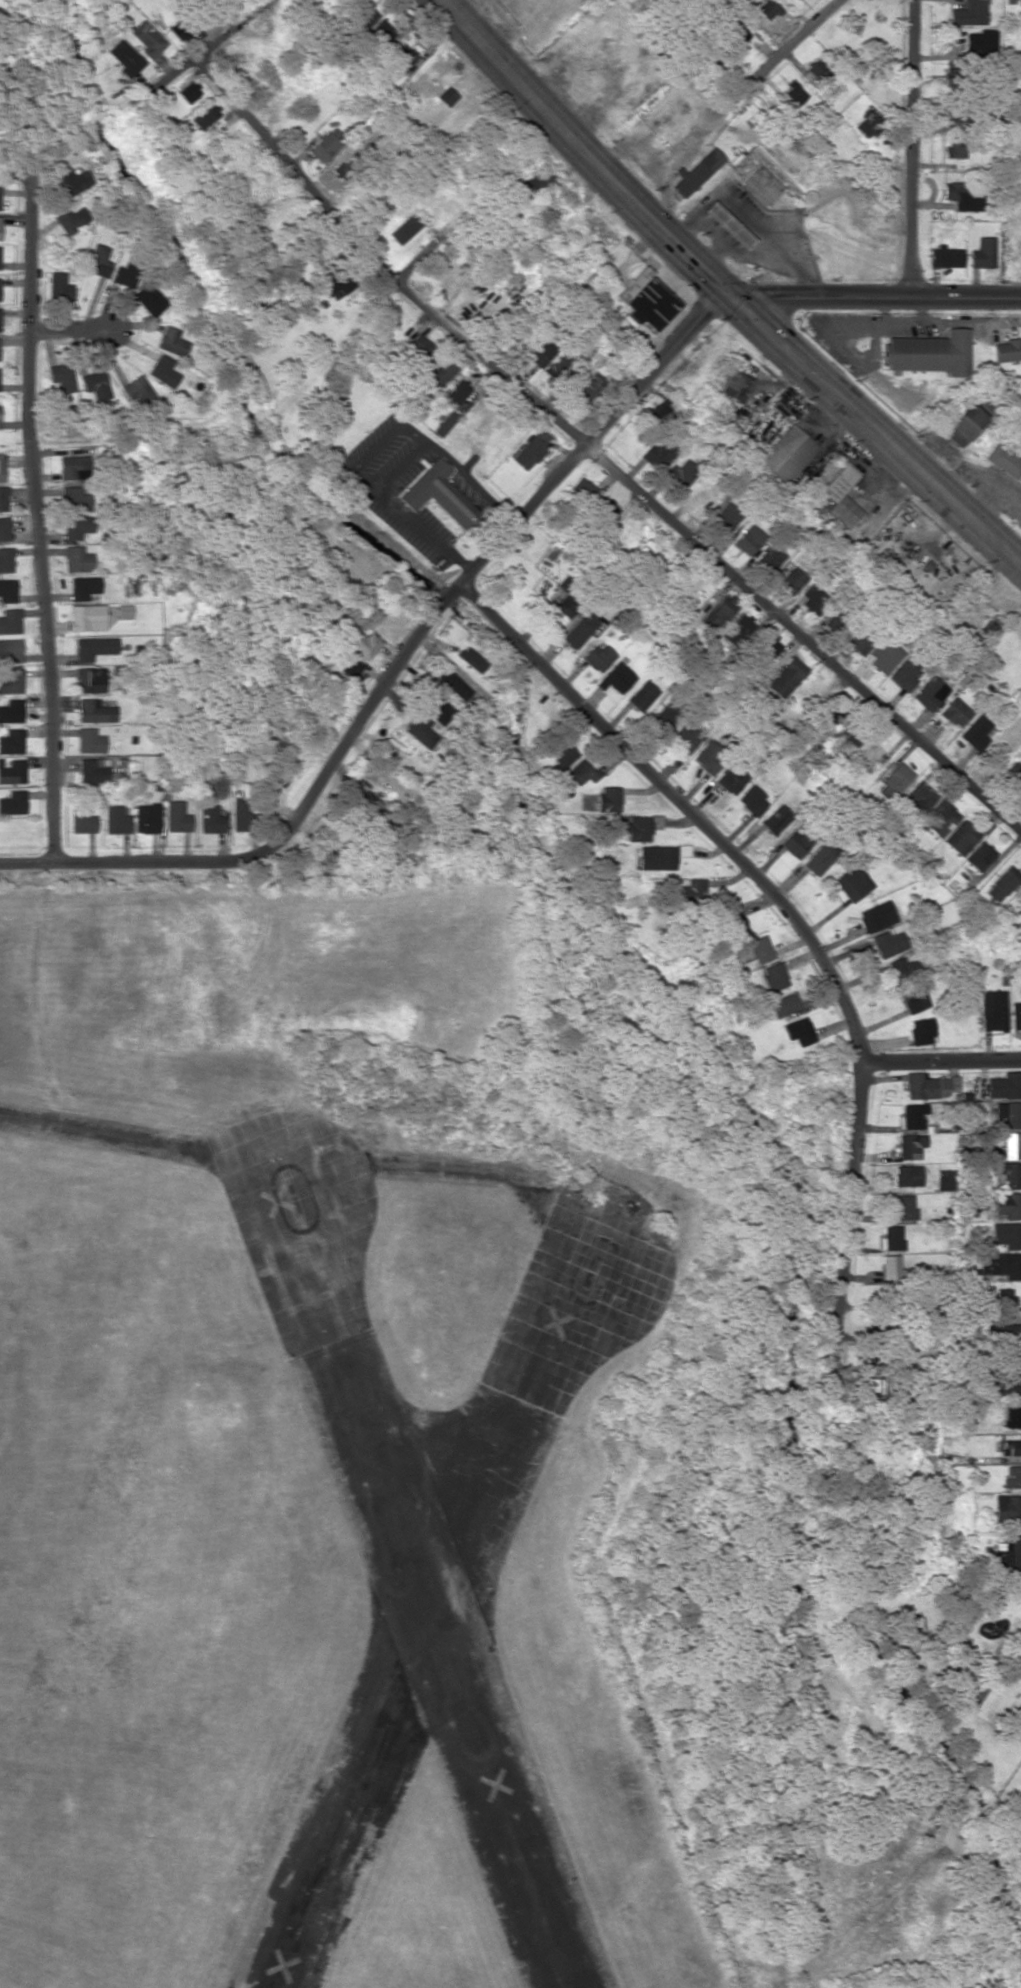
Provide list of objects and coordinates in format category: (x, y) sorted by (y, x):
road: (452, 3)
building: (767, 9)
building: (968, 13)
building: (365, 16)
building: (177, 31)
building: (380, 34)
building: (738, 34)
building: (148, 39)
building: (981, 43)
road: (200, 55)
building: (124, 57)
building: (400, 59)
building: (818, 69)
building: (952, 74)
building: (189, 91)
building: (793, 92)
building: (446, 96)
road: (736, 99)
building: (205, 116)
building: (867, 124)
building: (324, 145)
road: (908, 147)
building: (955, 149)
road: (583, 150)
building: (344, 165)
building: (696, 172)
road: (16, 176)
building: (537, 180)
building: (74, 181)
building: (758, 185)
building: (962, 196)
building: (0, 203)
road: (406, 208)
building: (71, 219)
building: (726, 224)
building: (0, 227)
building: (404, 228)
building: (983, 252)
building: (946, 256)
building: (98, 259)
road: (380, 264)
building: (125, 274)
building: (336, 282)
building: (59, 286)
road: (876, 294)
traffic signals: (731, 295)
building: (149, 299)
building: (646, 299)
building: (0, 325)
road: (73, 330)
building: (171, 341)
building: (420, 347)
building: (1007, 350)
building: (540, 352)
building: (928, 352)
building: (558, 364)
road: (659, 370)
building: (163, 371)
building: (443, 371)
building: (61, 376)
building: (96, 384)
building: (734, 385)
building: (587, 387)
building: (137, 391)
building: (458, 391)
building: (661, 409)
building: (0, 419)
building: (445, 423)
road: (876, 427)
building: (964, 427)
building: (531, 449)
building: (658, 453)
building: (786, 455)
building: (1004, 460)
building: (2, 467)
building: (73, 467)
building: (680, 474)
building: (839, 481)
building: (582, 488)
building: (438, 492)
building: (4, 499)
building: (75, 499)
building: (604, 509)
building: (844, 511)
road: (522, 515)
building: (726, 517)
road: (36, 519)
building: (77, 526)
building: (4, 528)
building: (748, 539)
building: (553, 550)
building: (769, 558)
building: (6, 559)
building: (78, 559)
building: (791, 580)
building: (84, 587)
building: (8, 590)
building: (813, 598)
building: (566, 605)
building: (124, 611)
building: (720, 611)
building: (87, 617)
building: (10, 621)
building: (990, 625)
building: (737, 627)
building: (576, 633)
road: (804, 638)
building: (364, 644)
building: (768, 645)
building: (94, 647)
building: (10, 650)
building: (597, 656)
building: (883, 656)
building: (472, 659)
building: (348, 665)
building: (904, 674)
building: (618, 676)
building: (786, 677)
building: (90, 679)
building: (11, 681)
building: (455, 685)
building: (930, 692)
building: (642, 695)
building: (437, 708)
building: (11, 710)
building: (95, 711)
building: (955, 712)
building: (831, 715)
building: (665, 716)
building: (421, 730)
building: (976, 731)
building: (851, 733)
building: (685, 736)
building: (89, 740)
building: (12, 741)
building: (561, 756)
building: (710, 756)
building: (1015, 770)
building: (13, 771)
building: (96, 771)
building: (581, 772)
building: (731, 779)
building: (895, 781)
building: (608, 797)
building: (919, 798)
building: (752, 800)
building: (13, 802)
road: (684, 806)
building: (240, 814)
building: (176, 816)
building: (146, 817)
building: (81, 818)
building: (776, 818)
building: (940, 818)
building: (115, 819)
building: (211, 819)
building: (638, 826)
road: (285, 829)
building: (962, 837)
building: (800, 838)
building: (660, 856)
building: (980, 856)
building: (821, 857)
building: (852, 881)
building: (1002, 883)
building: (693, 890)
building: (876, 915)
building: (735, 919)
building: (888, 943)
building: (754, 950)
building: (904, 969)
building: (774, 976)
building: (914, 997)
building: (783, 1004)
building: (994, 1010)
building: (1016, 1015)
building: (800, 1030)
building: (922, 1030)
road: (941, 1061)
building: (930, 1085)
building: (1005, 1085)
building: (1008, 1114)
building: (914, 1115)
building: (1012, 1144)
building: (910, 1145)
building: (1009, 1173)
building: (907, 1175)
building: (945, 1179)
building: (1008, 1204)
building: (904, 1207)
road: (847, 1231)
building: (1007, 1234)
building: (892, 1237)
building: (1001, 1264)
building: (890, 1266)
building: (1004, 1298)
building: (1004, 1330)
building: (1012, 1358)
building: (1009, 1386)
building: (1013, 1417)
building: (1012, 1446)
airport: (313, 1454)
building: (1012, 1476)
building: (1007, 1509)
building: (1008, 1552)

